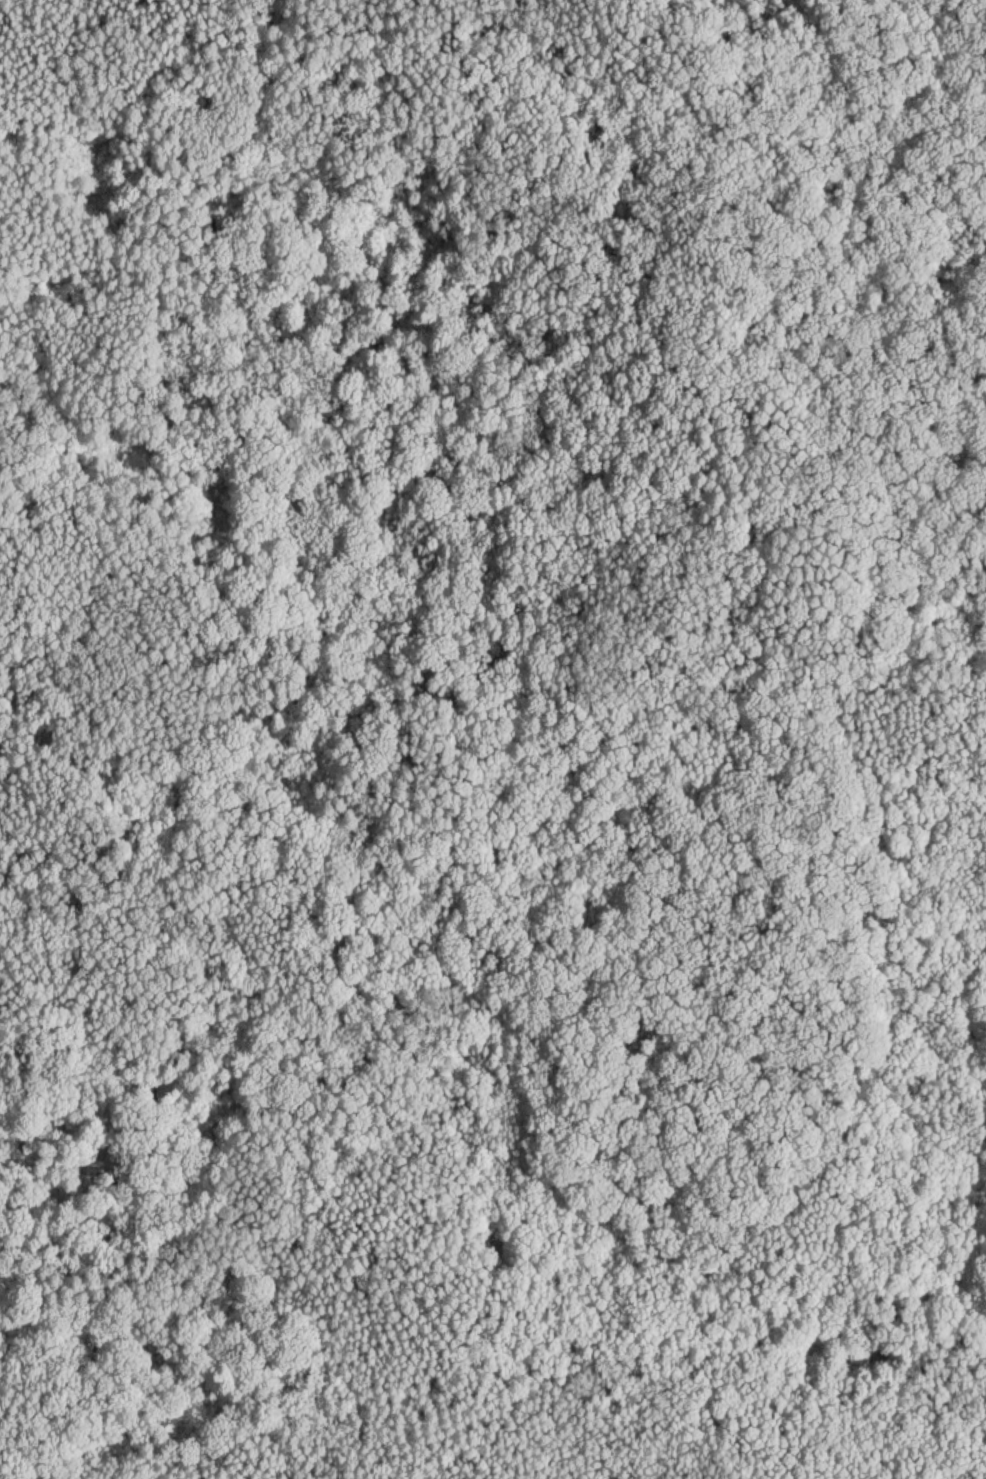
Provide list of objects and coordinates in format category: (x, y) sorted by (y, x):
road: (125, 574)
road: (285, 723)
road: (808, 1289)

